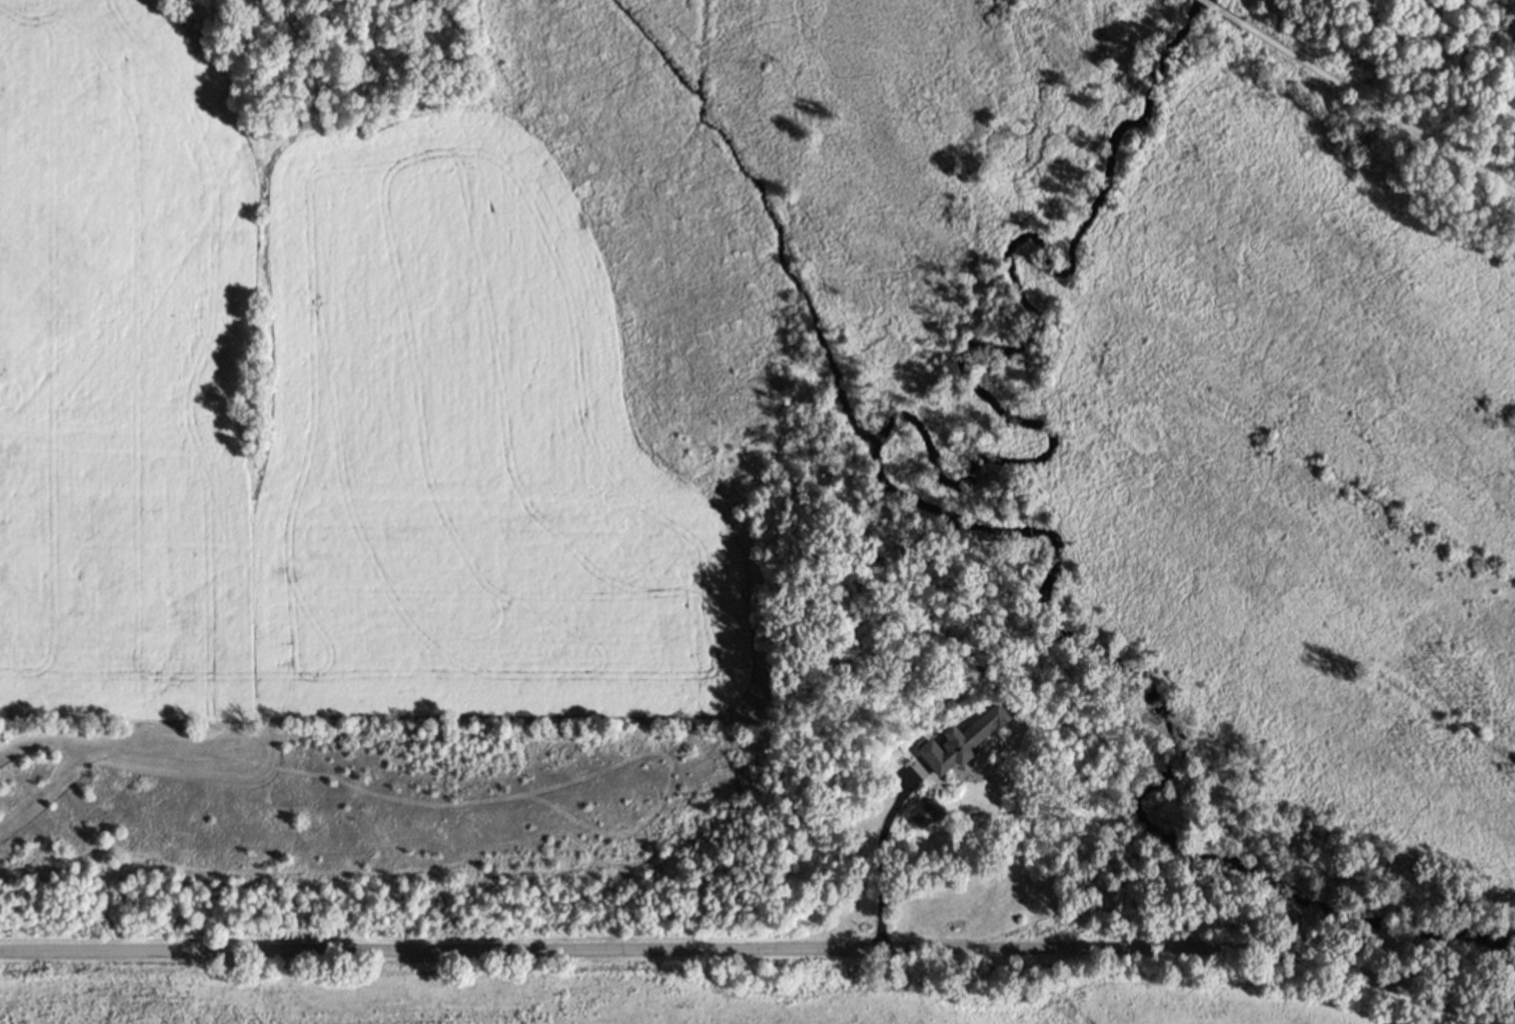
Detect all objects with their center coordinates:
building: (396, 2)
road: (1220, 13)
road: (1378, 110)
building: (962, 739)
building: (927, 812)
road: (880, 867)
road: (752, 949)

